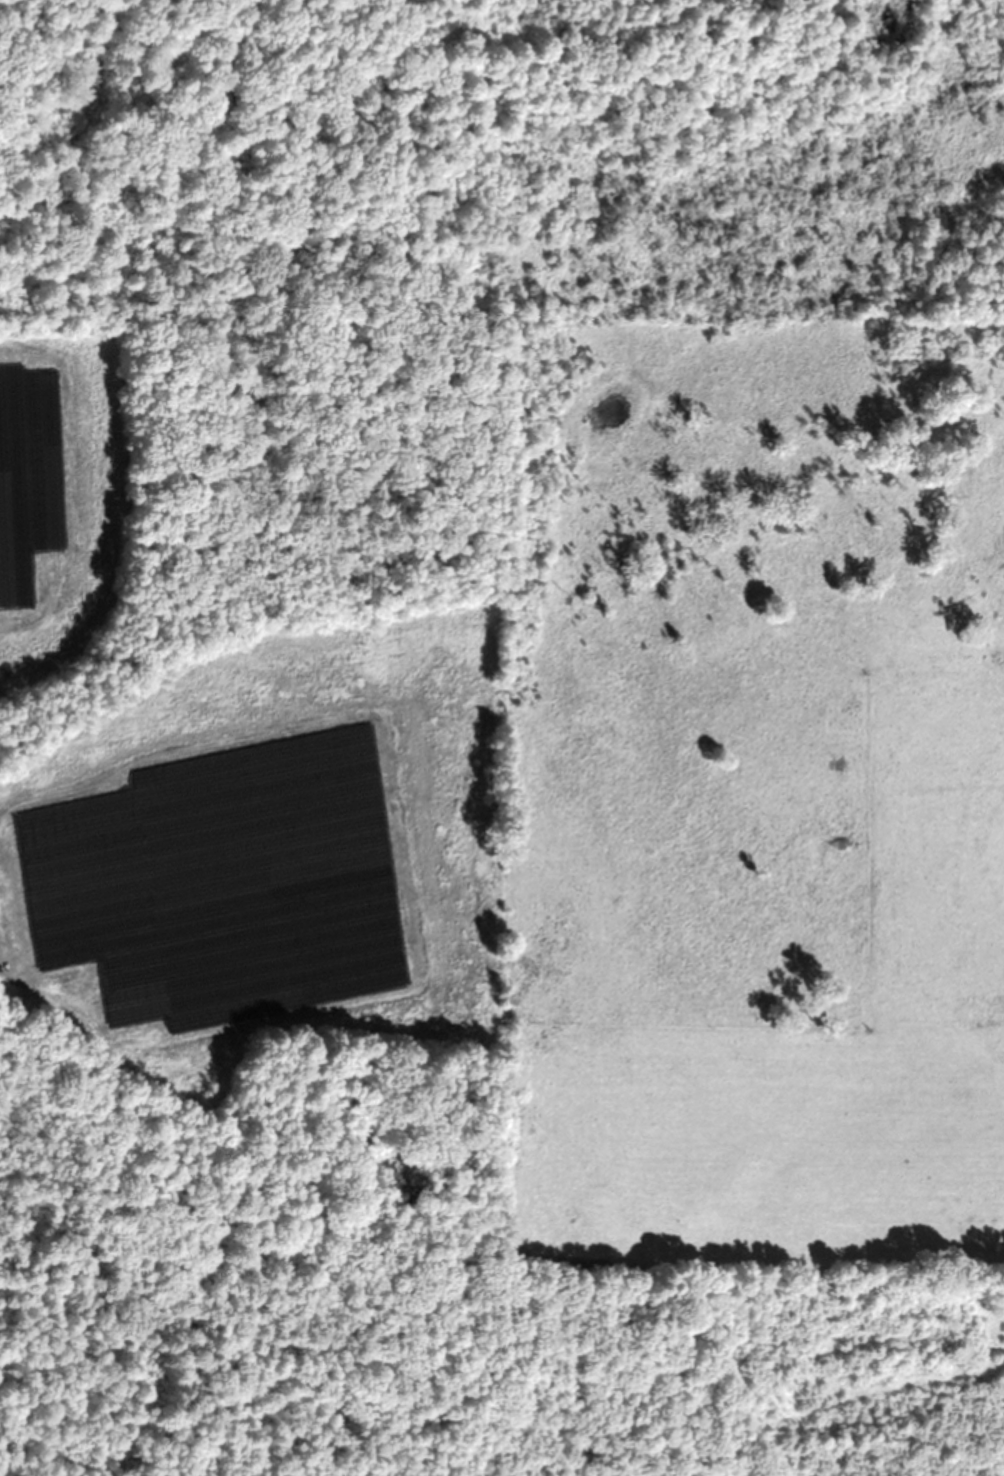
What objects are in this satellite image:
crop: (55, 502)
crop: (618, 812)

